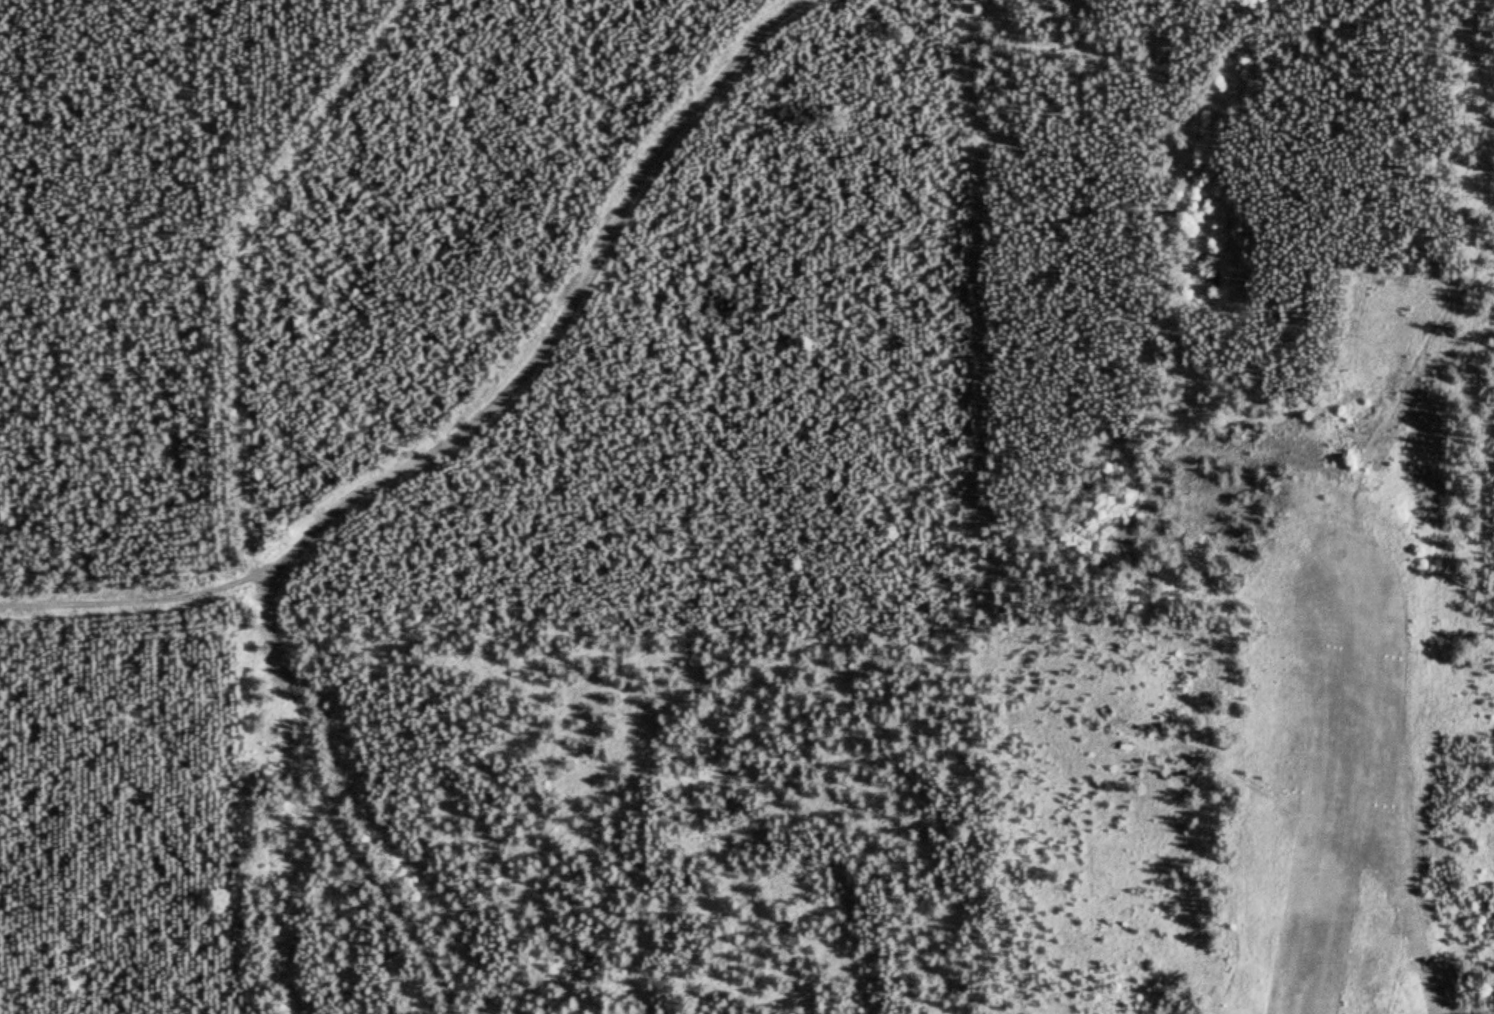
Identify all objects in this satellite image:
road: (1215, 231)
road: (472, 404)
road: (1464, 561)
road: (332, 803)
airport runway: (1330, 837)

